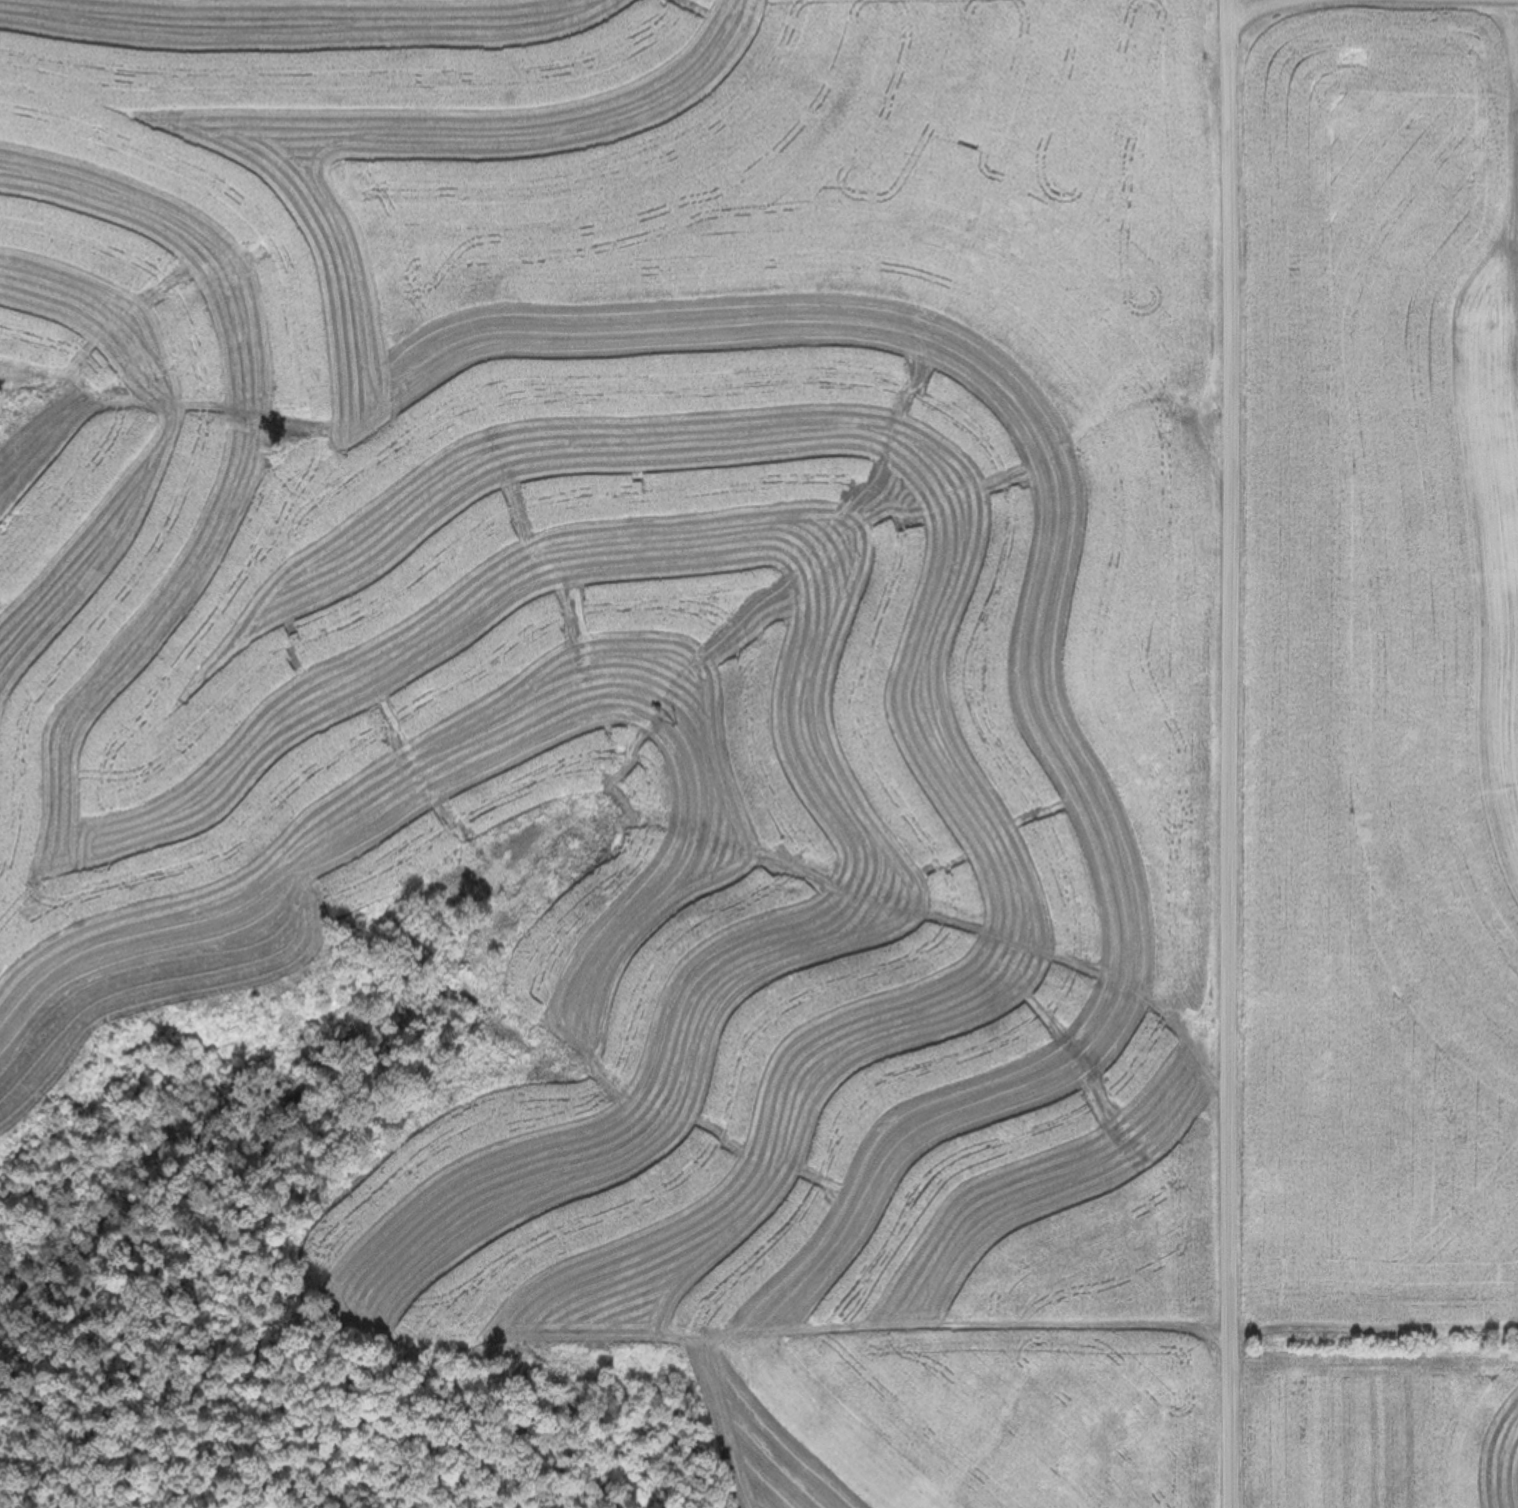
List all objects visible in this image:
road: (1255, 7)
road: (1229, 754)

